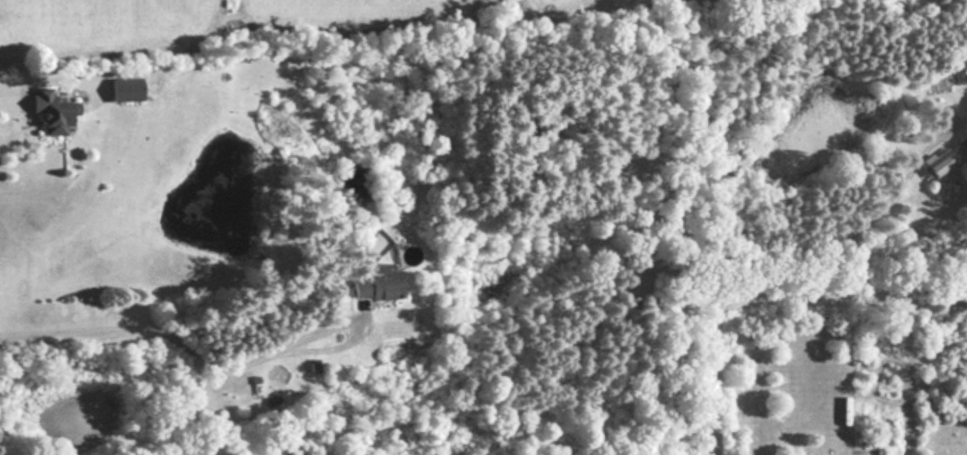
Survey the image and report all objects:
building: (125, 88)
building: (53, 113)
building: (963, 142)
building: (939, 163)
building: (376, 284)
road: (155, 327)
road: (357, 329)

